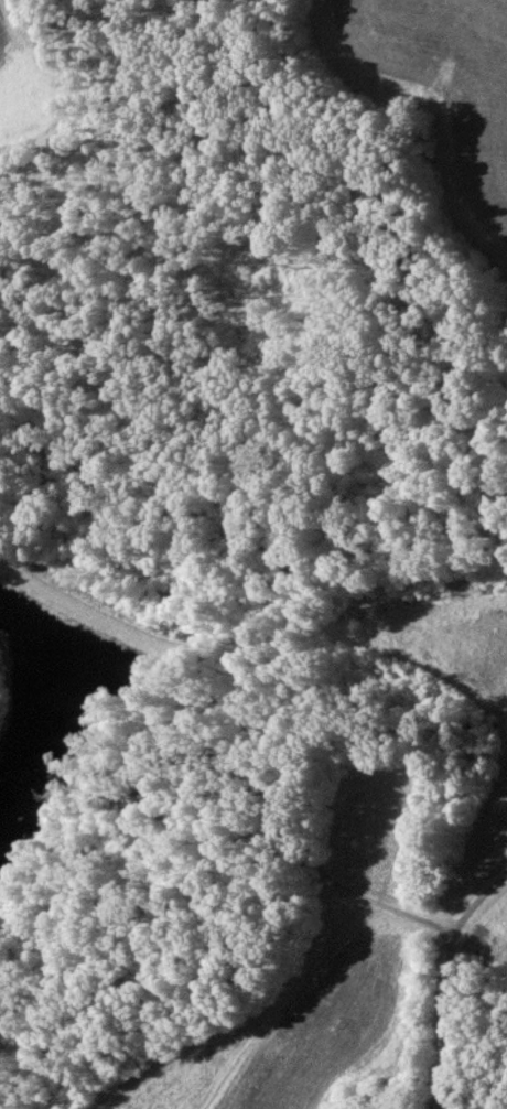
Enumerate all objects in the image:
road: (388, 913)
road: (453, 989)

